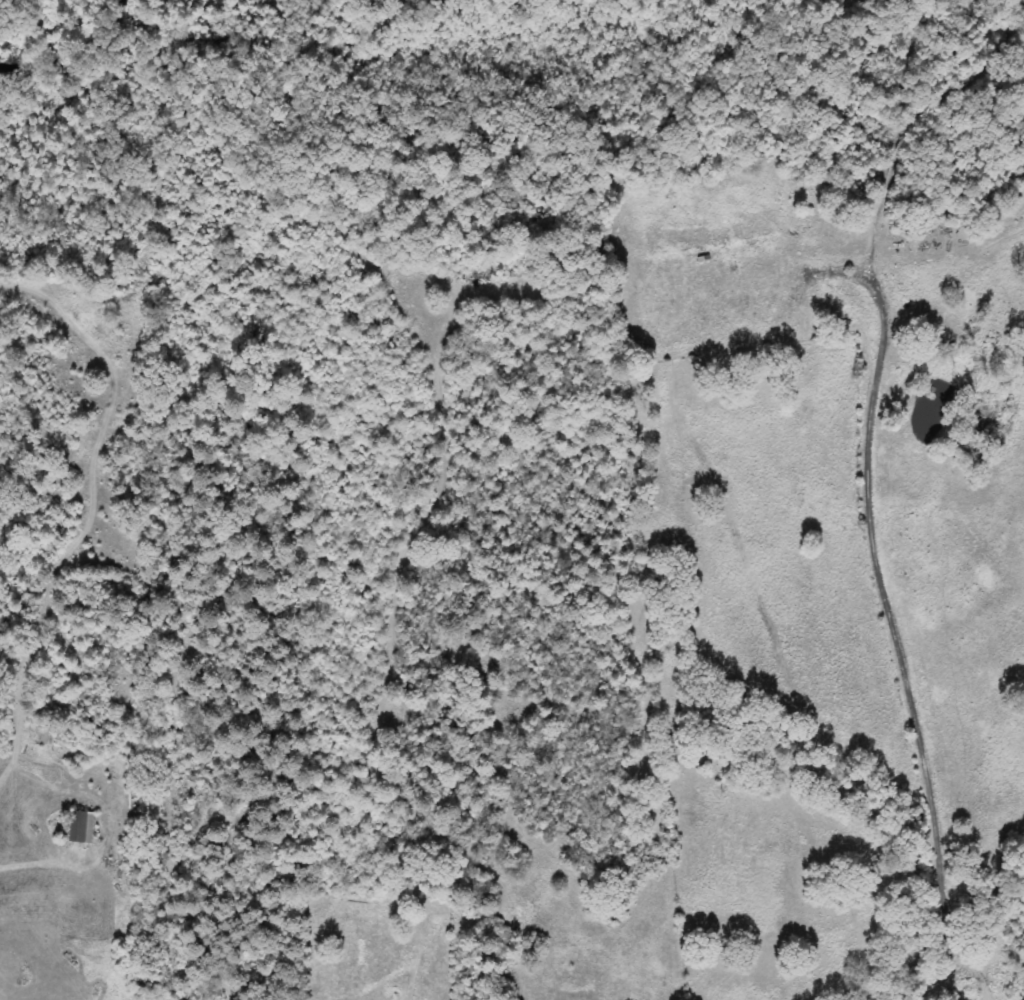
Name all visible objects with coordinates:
building: (80, 828)

